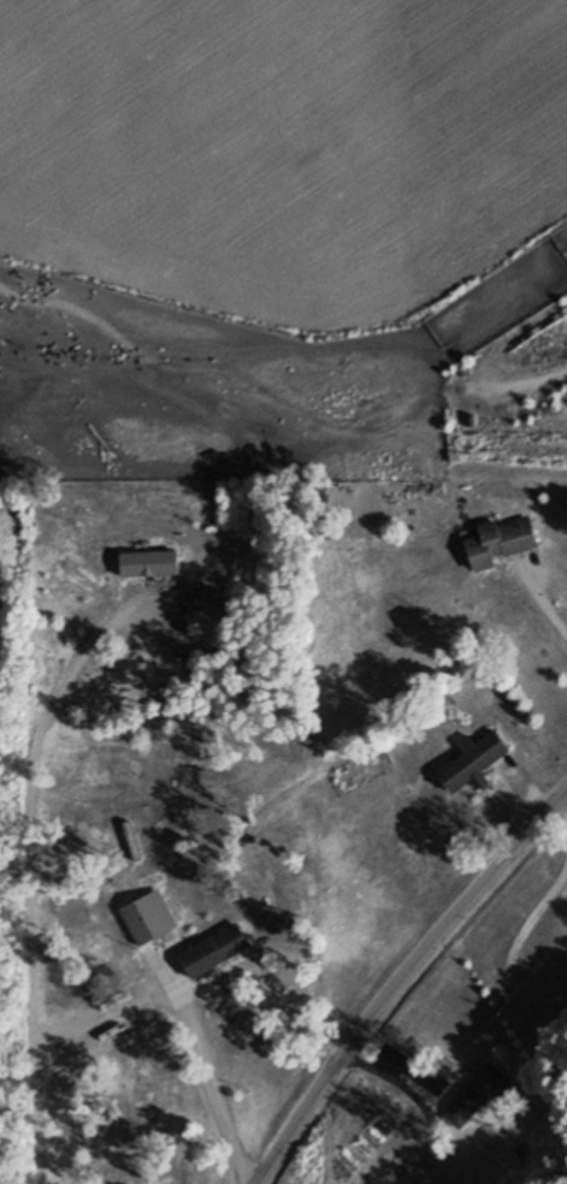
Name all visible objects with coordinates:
building: (543, 350)
building: (503, 543)
building: (150, 563)
road: (547, 605)
building: (203, 623)
road: (160, 634)
building: (474, 762)
road: (560, 812)
building: (148, 918)
road: (30, 941)
building: (230, 942)
road: (513, 955)
road: (404, 981)
building: (476, 1096)

